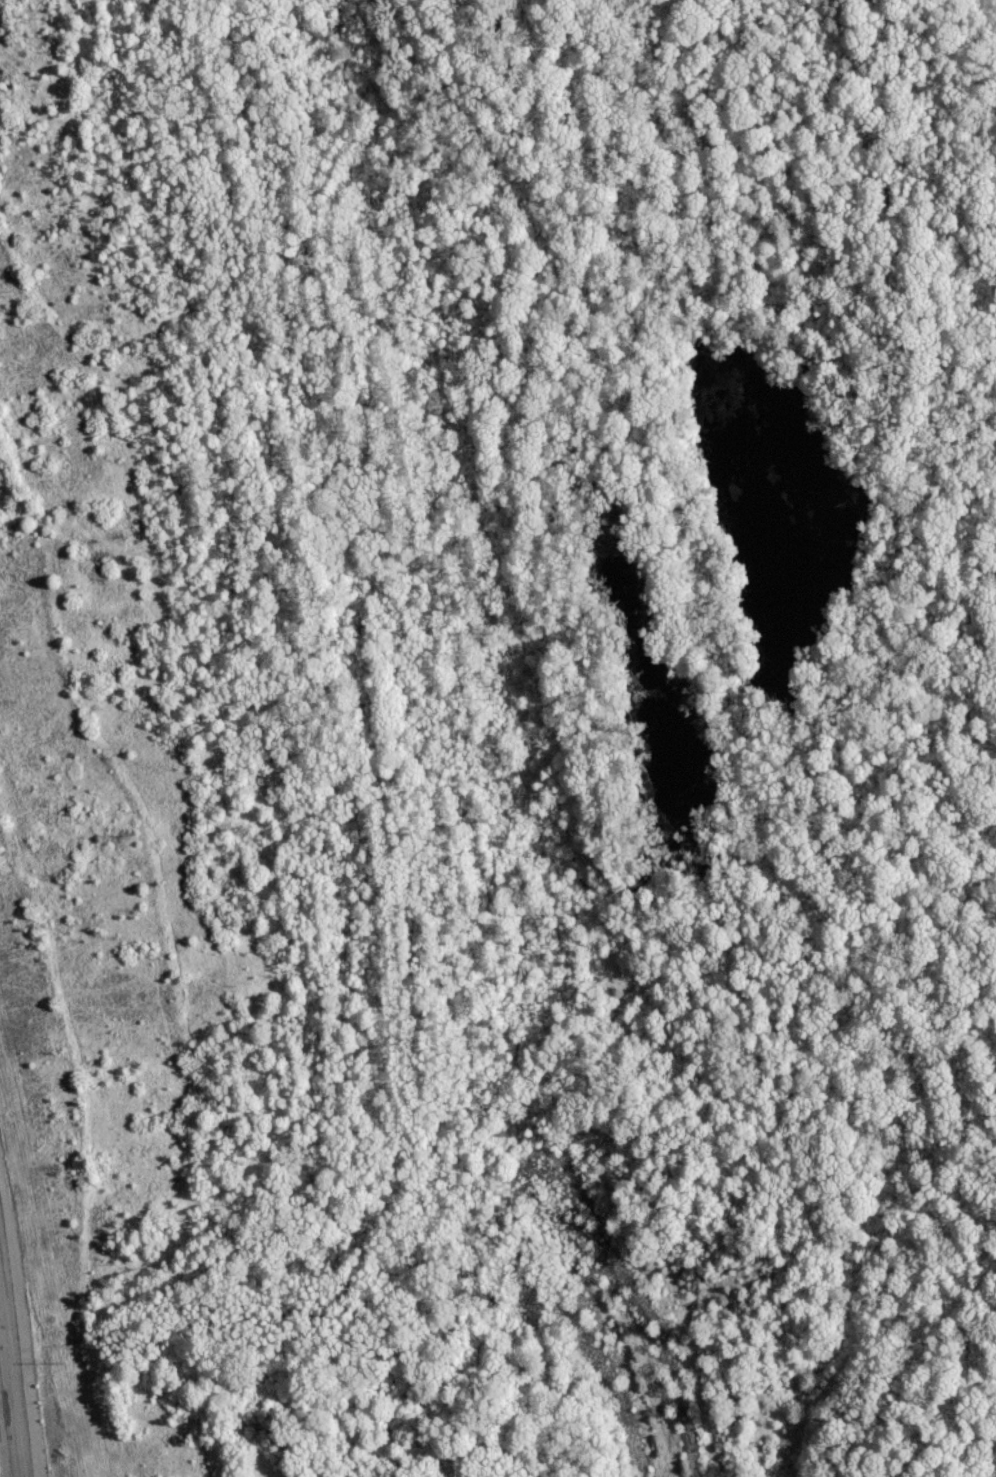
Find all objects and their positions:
road: (1, 1464)

